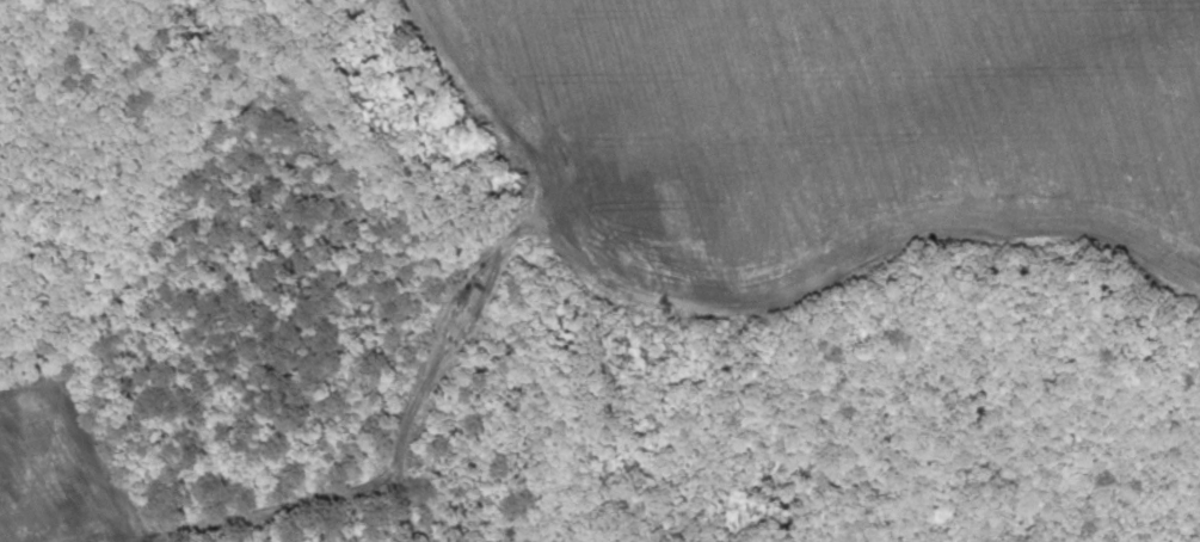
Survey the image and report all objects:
crop: (847, 127)
crop: (62, 464)

